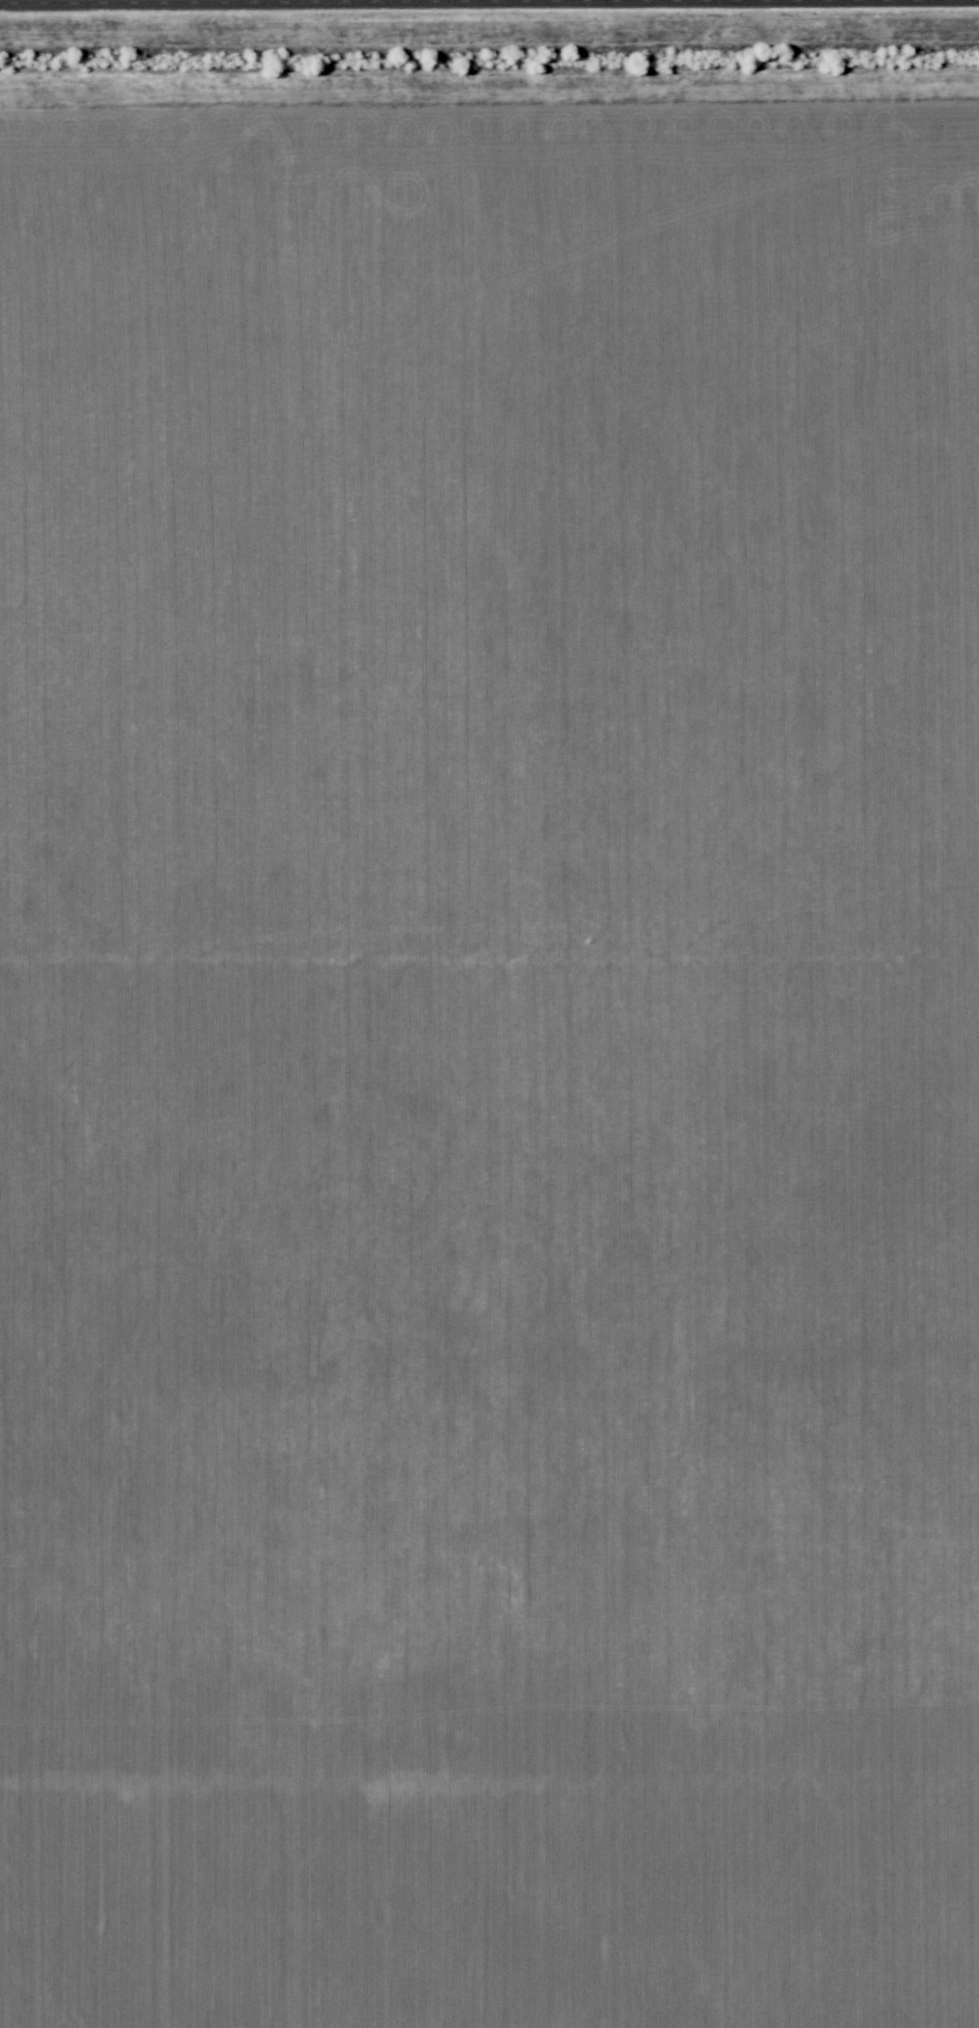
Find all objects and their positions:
road: (473, 2)

